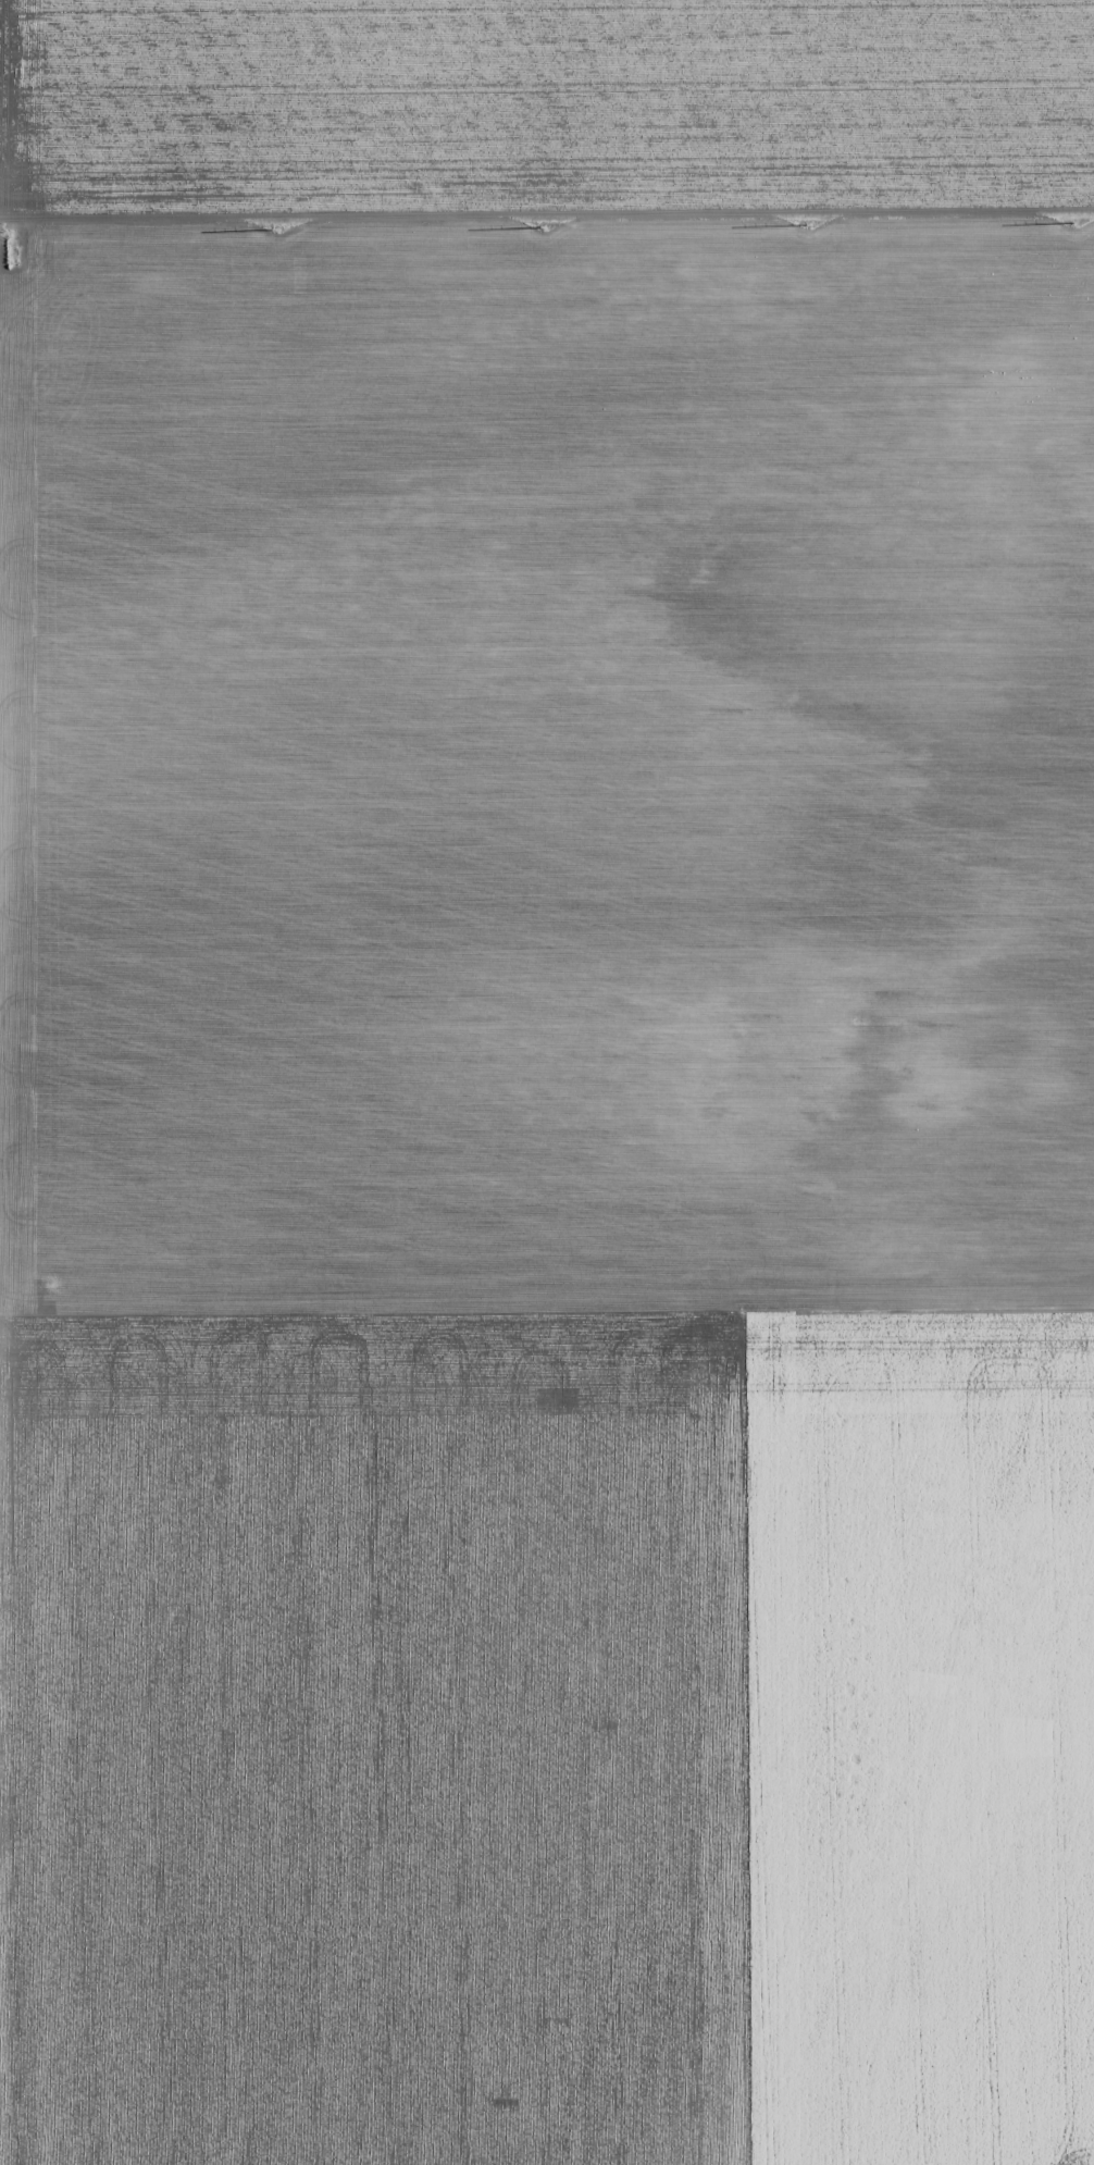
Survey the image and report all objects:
power tower: (1029, 224)
power tower: (758, 227)
power tower: (480, 230)
power tower: (200, 232)
power tower: (14, 235)

